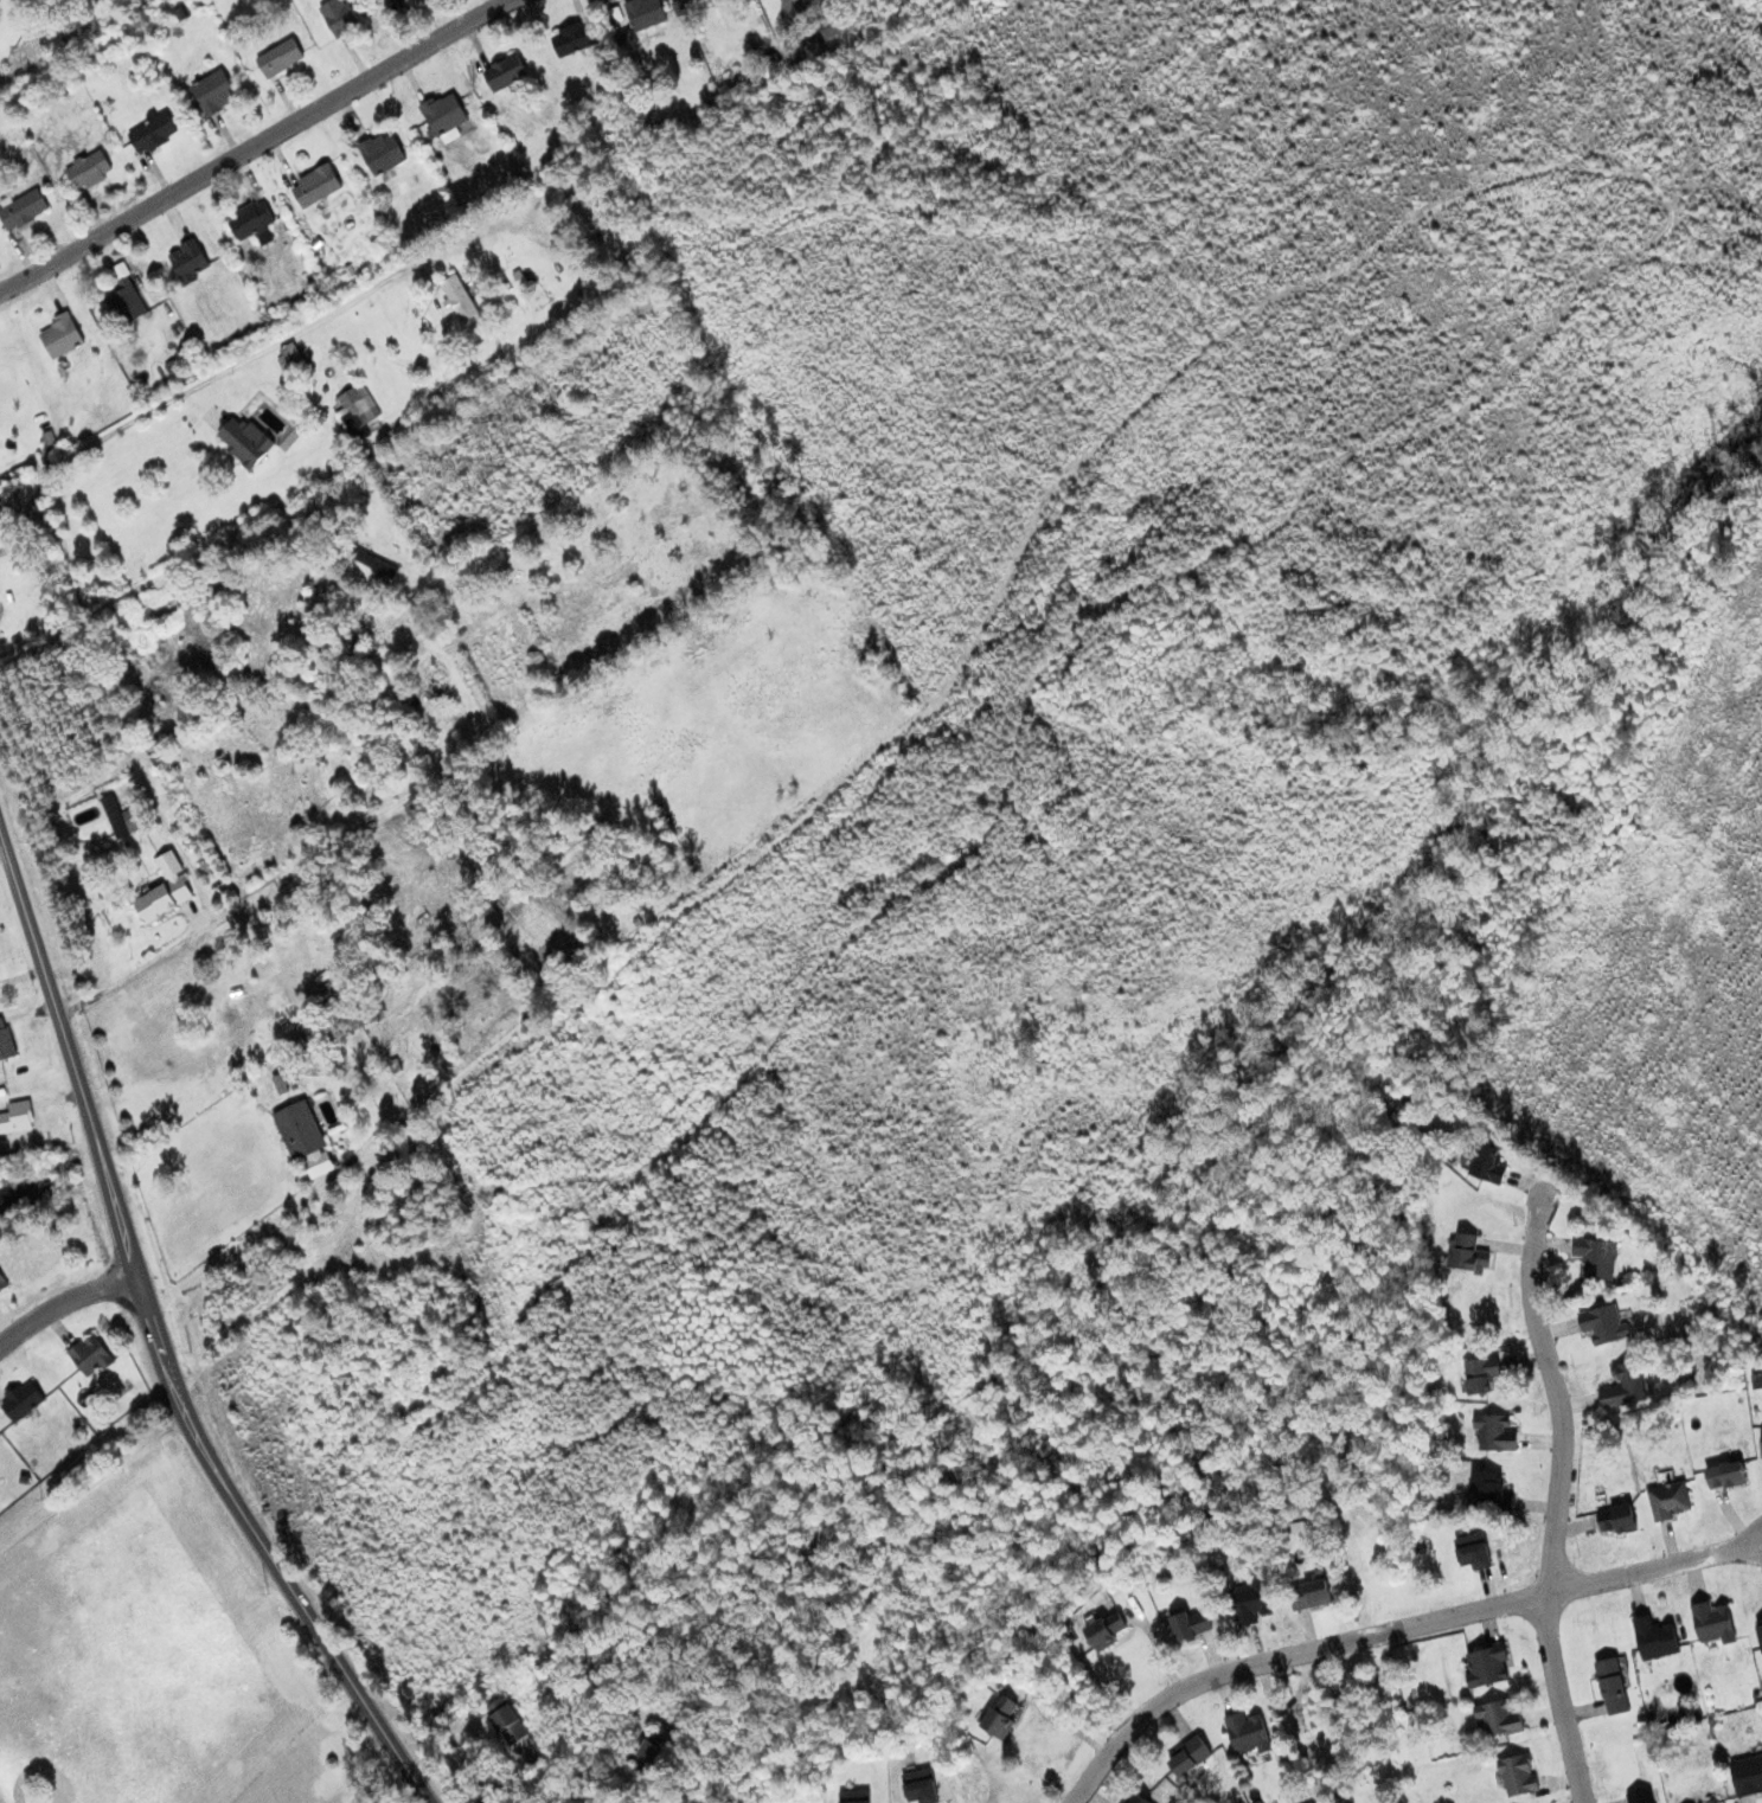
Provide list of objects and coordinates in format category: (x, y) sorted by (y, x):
building: (694, 0)
building: (395, 1)
building: (643, 13)
building: (337, 18)
building: (829, 27)
building: (574, 39)
building: (277, 59)
building: (504, 73)
building: (212, 94)
building: (443, 115)
building: (150, 135)
road: (256, 145)
building: (380, 154)
building: (87, 171)
building: (313, 187)
building: (21, 211)
building: (250, 224)
building: (187, 262)
building: (457, 299)
building: (126, 301)
building: (59, 336)
road: (187, 392)
building: (354, 410)
building: (245, 449)
building: (371, 564)
building: (478, 573)
building: (440, 615)
building: (424, 706)
road: (351, 774)
building: (124, 827)
building: (164, 891)
building: (360, 1018)
building: (245, 1033)
building: (4, 1042)
building: (15, 1118)
building: (297, 1131)
building: (1486, 1164)
road: (237, 1246)
building: (1467, 1255)
building: (1594, 1258)
road: (65, 1303)
building: (1602, 1324)
road: (162, 1346)
building: (89, 1358)
building: (1480, 1375)
building: (1622, 1387)
building: (20, 1401)
building: (1495, 1433)
building: (1761, 1445)
building: (1724, 1476)
building: (1488, 1494)
road: (1558, 1501)
building: (1667, 1502)
building: (1617, 1521)
building: (1308, 1596)
building: (1249, 1602)
road: (1390, 1621)
building: (1711, 1623)
building: (1187, 1629)
building: (1106, 1631)
building: (1760, 1635)
building: (1654, 1638)
building: (1486, 1667)
building: (1612, 1686)
building: (999, 1717)
building: (1499, 1718)
building: (504, 1721)
building: (1247, 1733)
building: (647, 1757)
building: (1188, 1758)
road: (528, 1764)
building: (1745, 1773)
building: (1518, 1778)
building: (1645, 1795)
building: (1135, 1798)
building: (1712, 1801)

